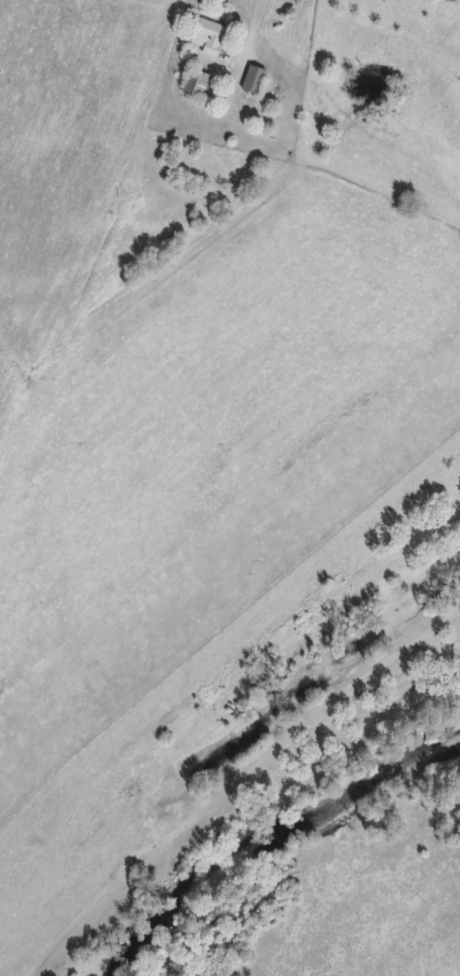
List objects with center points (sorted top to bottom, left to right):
building: (206, 33)
building: (252, 79)
building: (193, 82)

